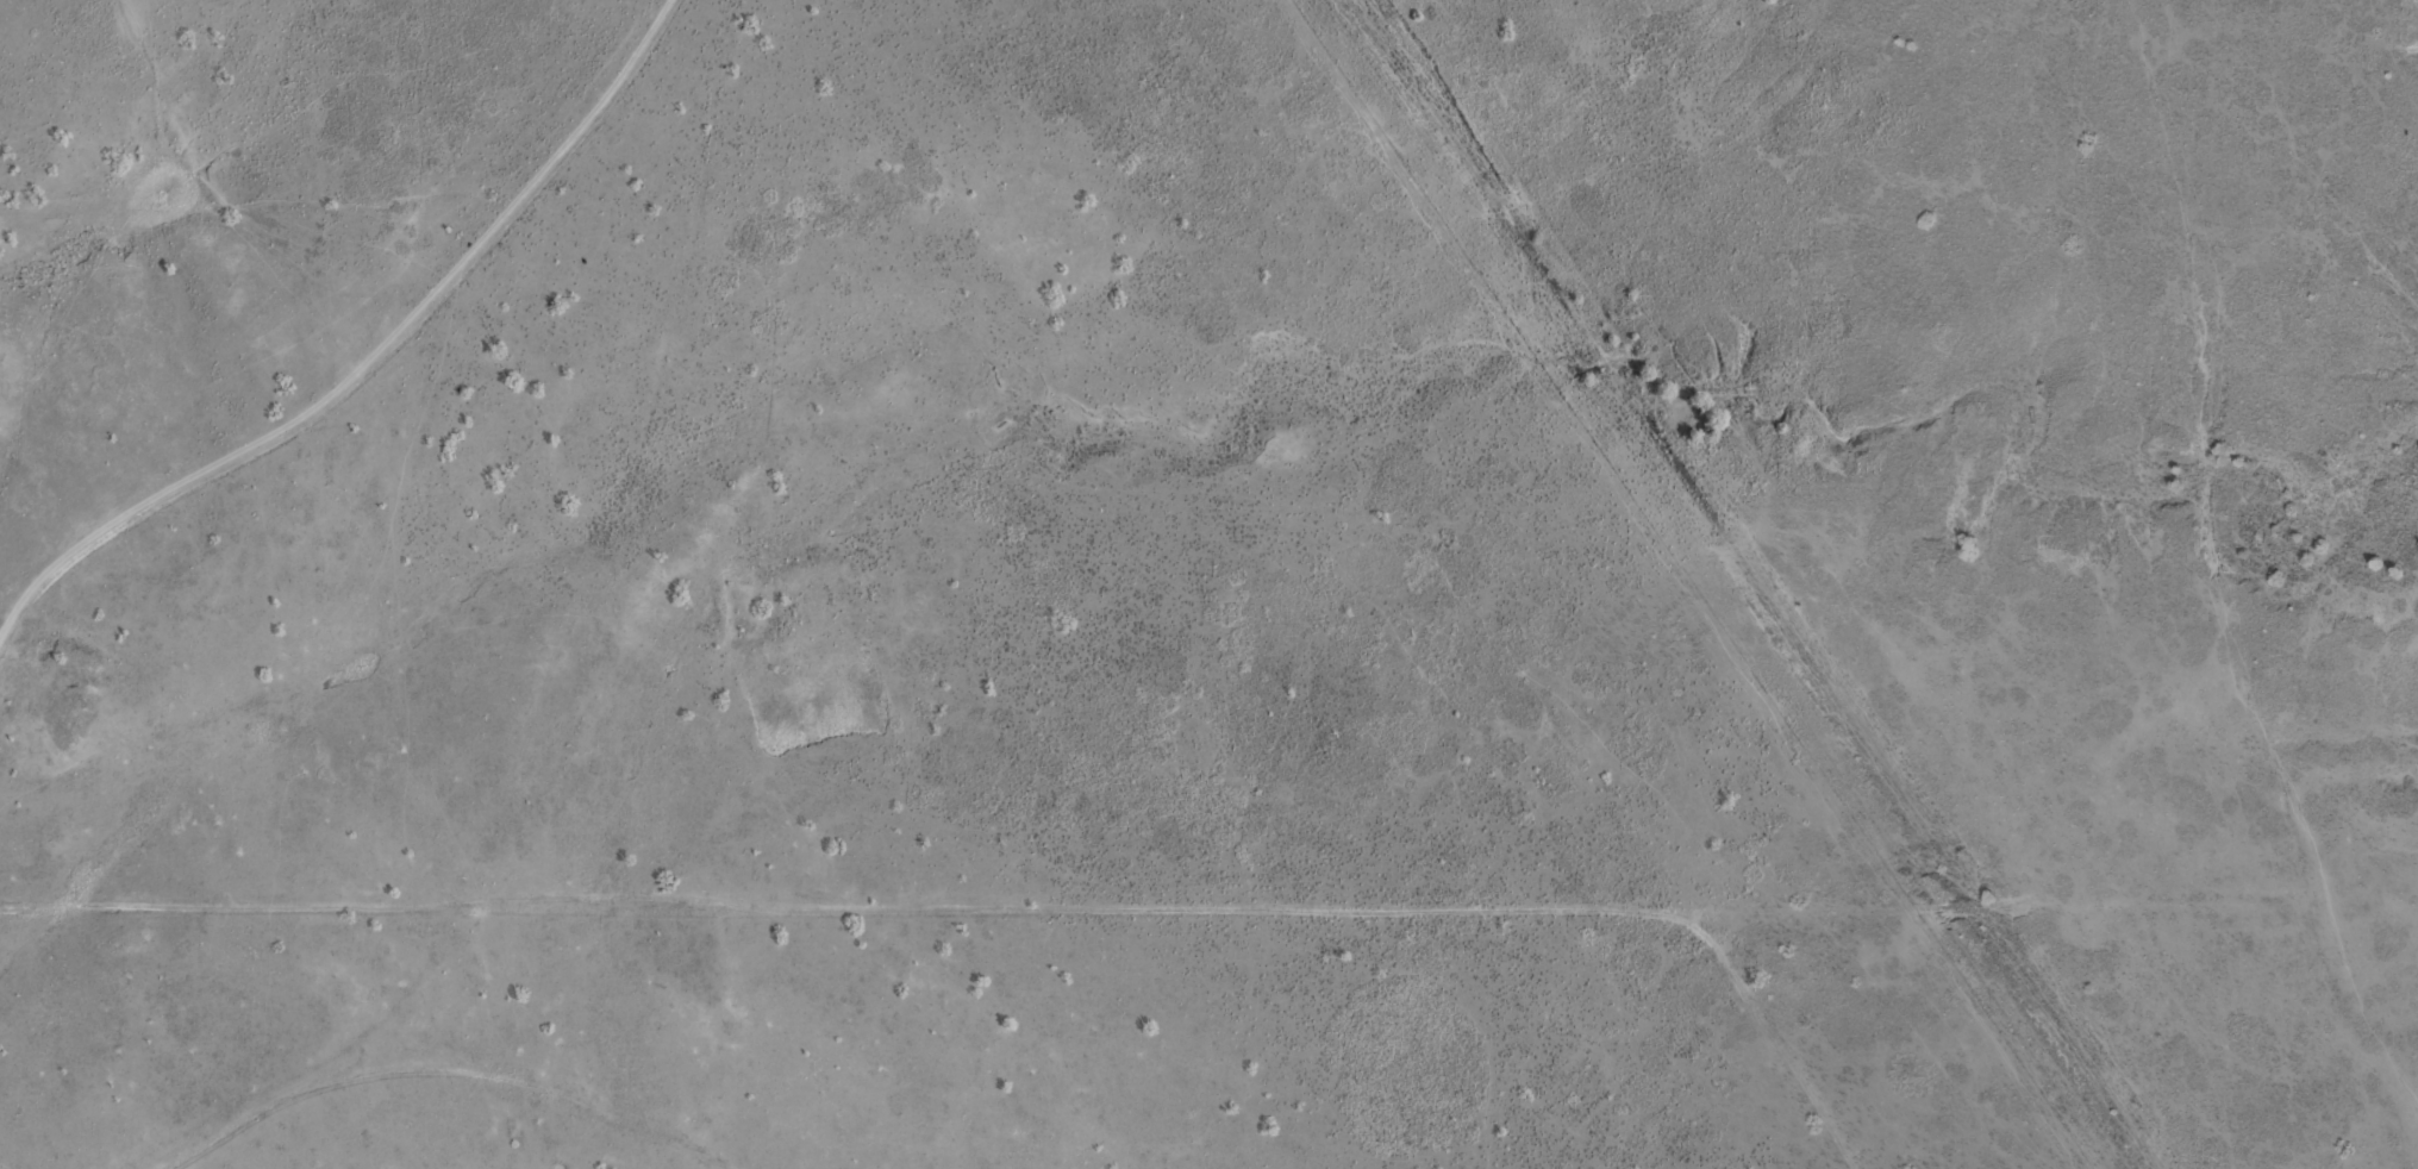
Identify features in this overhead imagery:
railway: (1752, 583)

